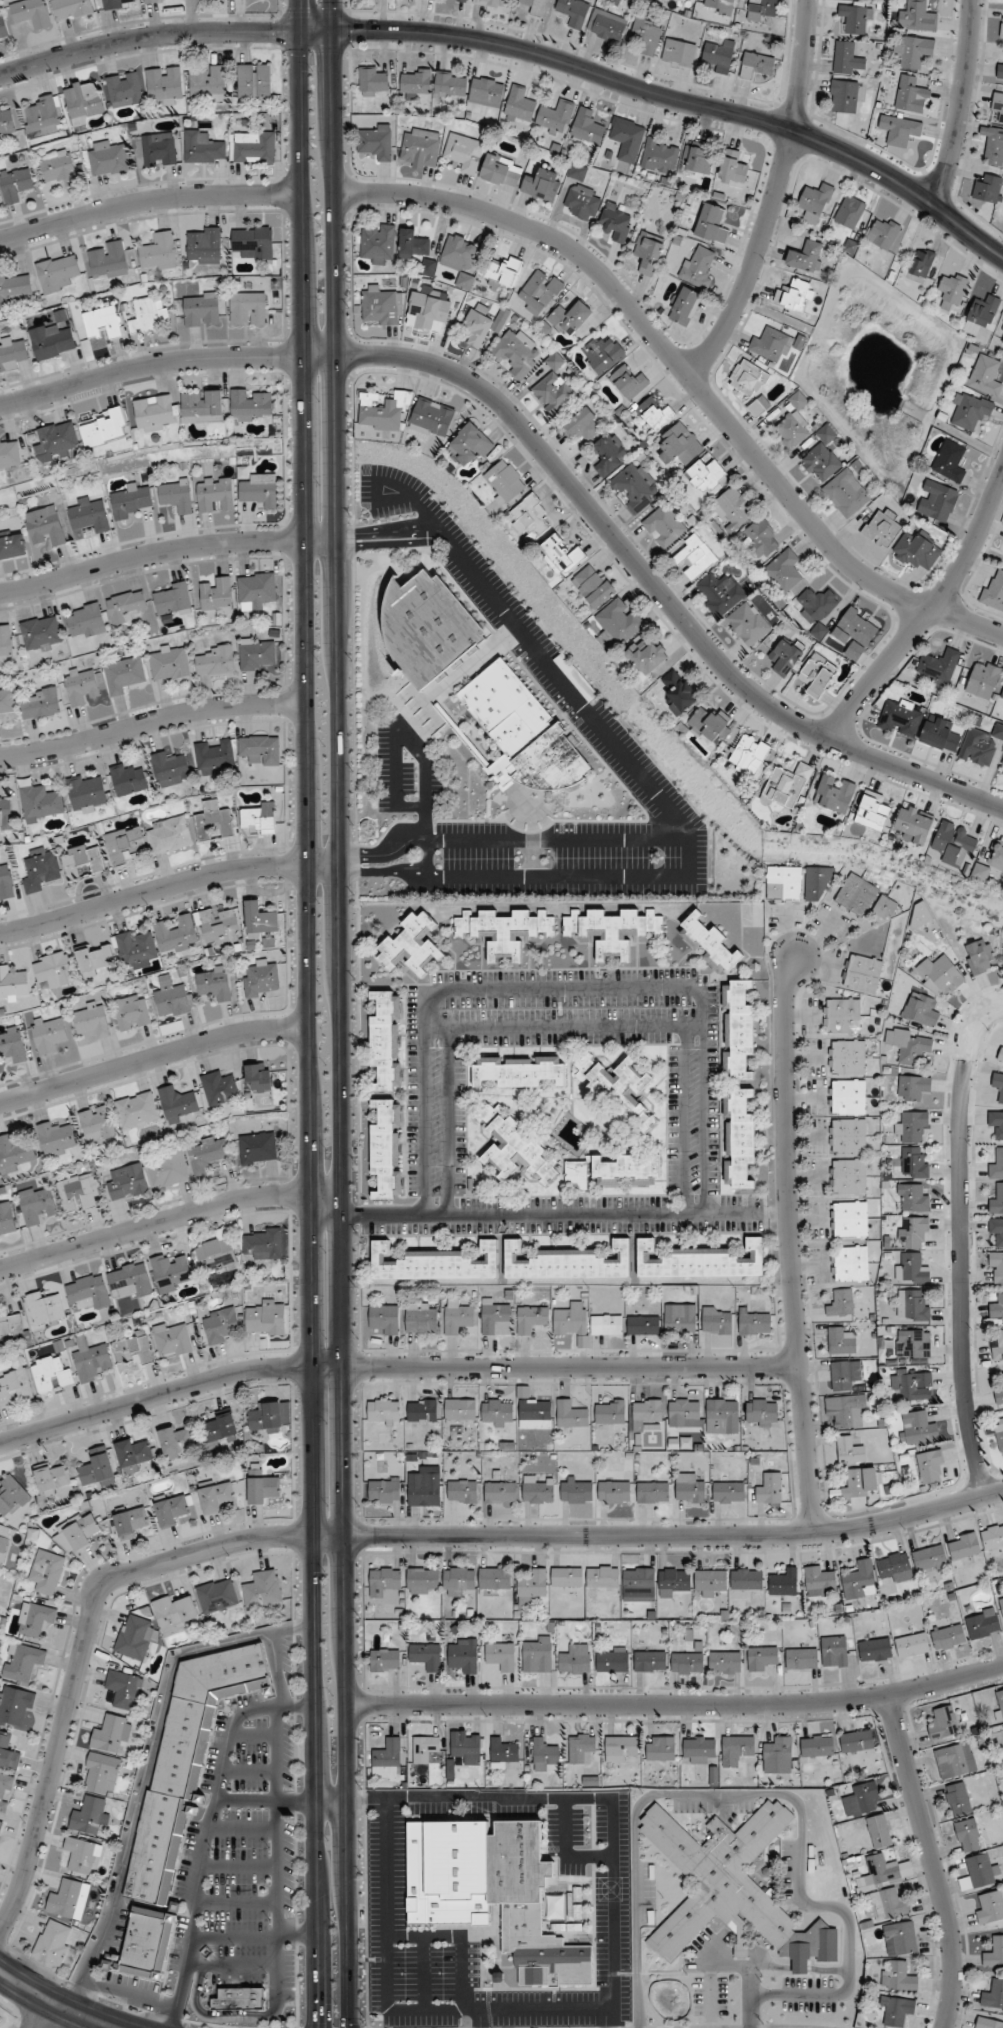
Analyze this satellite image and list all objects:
building: (152, 0)
building: (462, 0)
building: (494, 3)
building: (117, 4)
building: (535, 6)
building: (719, 6)
traffic signals: (298, 7)
building: (71, 8)
building: (761, 9)
building: (573, 12)
building: (31, 13)
road: (332, 14)
road: (298, 15)
building: (919, 15)
building: (856, 18)
building: (1002, 24)
building: (607, 25)
building: (3, 28)
road: (315, 30)
traffic signals: (356, 30)
traffic signals: (273, 31)
building: (646, 35)
road: (146, 37)
building: (679, 51)
building: (914, 51)
building: (719, 54)
traffic signals: (333, 55)
building: (847, 58)
building: (756, 64)
building: (1000, 70)
building: (254, 81)
building: (373, 81)
building: (208, 83)
building: (414, 83)
building: (165, 84)
building: (450, 85)
building: (124, 88)
building: (486, 91)
building: (843, 96)
building: (912, 98)
building: (84, 100)
road: (683, 101)
road: (960, 103)
building: (998, 104)
building: (520, 105)
building: (43, 114)
building: (555, 116)
building: (7, 121)
building: (587, 126)
building: (900, 129)
building: (626, 138)
building: (376, 141)
building: (994, 144)
building: (253, 146)
building: (203, 147)
building: (420, 148)
building: (159, 149)
building: (464, 152)
building: (660, 155)
building: (108, 157)
building: (699, 161)
building: (59, 168)
building: (732, 169)
building: (502, 170)
building: (577, 171)
building: (15, 183)
building: (543, 184)
building: (989, 188)
road: (776, 197)
road: (147, 201)
building: (582, 201)
building: (815, 201)
building: (850, 211)
building: (616, 221)
building: (711, 223)
building: (884, 233)
building: (253, 241)
building: (378, 242)
building: (203, 244)
building: (416, 249)
building: (159, 251)
building: (648, 252)
building: (806, 256)
building: (459, 258)
building: (107, 259)
building: (922, 263)
building: (698, 267)
building: (503, 270)
building: (57, 273)
building: (14, 287)
building: (952, 289)
building: (539, 291)
building: (794, 295)
building: (685, 305)
building: (380, 306)
building: (248, 307)
building: (203, 308)
building: (428, 311)
building: (984, 311)
building: (149, 314)
building: (568, 318)
building: (103, 321)
building: (482, 324)
building: (1001, 335)
building: (51, 341)
building: (775, 343)
building: (11, 353)
building: (516, 353)
building: (602, 353)
building: (985, 374)
road: (687, 375)
building: (748, 378)
building: (629, 381)
building: (553, 386)
building: (202, 405)
building: (250, 405)
building: (758, 406)
building: (970, 410)
building: (382, 411)
building: (654, 412)
building: (154, 413)
building: (432, 417)
building: (793, 421)
building: (584, 423)
building: (106, 428)
building: (56, 441)
building: (470, 444)
building: (680, 444)
building: (9, 453)
building: (609, 453)
road: (547, 456)
building: (822, 456)
building: (950, 461)
building: (705, 473)
building: (504, 481)
building: (635, 487)
building: (260, 489)
building: (846, 492)
building: (214, 493)
building: (175, 494)
building: (131, 500)
building: (937, 500)
building: (732, 507)
building: (90, 515)
building: (530, 517)
building: (45, 525)
building: (664, 525)
building: (882, 527)
building: (761, 537)
road: (440, 539)
building: (12, 544)
building: (917, 550)
road: (166, 551)
building: (561, 554)
building: (693, 556)
building: (784, 570)
building: (594, 585)
building: (258, 590)
building: (994, 590)
building: (720, 592)
building: (216, 594)
building: (172, 598)
building: (126, 606)
building: (817, 608)
road: (925, 614)
building: (620, 620)
building: (86, 621)
building: (422, 622)
building: (748, 623)
building: (41, 632)
building: (855, 632)
building: (6, 644)
building: (257, 653)
building: (648, 655)
building: (787, 655)
building: (217, 661)
building: (169, 662)
building: (940, 664)
building: (123, 674)
building: (817, 675)
building: (983, 679)
building: (82, 685)
building: (678, 690)
building: (1002, 694)
building: (7, 702)
building: (41, 703)
building: (901, 717)
road: (150, 721)
building: (709, 722)
building: (516, 728)
building: (940, 733)
building: (980, 744)
building: (260, 749)
building: (748, 755)
building: (214, 756)
building: (1002, 762)
building: (171, 768)
building: (128, 779)
road: (639, 782)
building: (787, 785)
building: (87, 792)
building: (834, 794)
building: (40, 801)
building: (873, 809)
building: (5, 812)
building: (260, 819)
building: (213, 820)
building: (914, 823)
building: (169, 834)
building: (954, 842)
building: (125, 845)
road: (428, 851)
building: (83, 861)
building: (991, 862)
building: (41, 869)
building: (6, 881)
building: (783, 883)
building: (817, 883)
road: (168, 886)
building: (856, 895)
building: (885, 907)
building: (919, 915)
building: (260, 919)
building: (220, 925)
building: (613, 929)
building: (504, 930)
building: (176, 933)
building: (709, 943)
building: (411, 945)
building: (136, 948)
building: (979, 956)
building: (96, 958)
building: (55, 968)
building: (862, 973)
building: (941, 975)
building: (261, 978)
building: (13, 983)
building: (213, 983)
road: (562, 985)
building: (172, 997)
building: (921, 1009)
building: (132, 1012)
building: (842, 1015)
building: (92, 1021)
road: (561, 1024)
road: (340, 1028)
road: (306, 1029)
building: (738, 1030)
building: (49, 1034)
building: (386, 1040)
building: (12, 1044)
building: (909, 1045)
building: (1001, 1055)
road: (151, 1057)
building: (847, 1057)
building: (519, 1070)
building: (259, 1077)
building: (998, 1085)
building: (913, 1087)
building: (219, 1088)
building: (619, 1090)
building: (847, 1097)
building: (178, 1103)
building: (137, 1109)
road: (681, 1118)
road: (445, 1119)
building: (996, 1122)
building: (97, 1124)
building: (912, 1127)
building: (847, 1136)
building: (56, 1137)
building: (739, 1138)
building: (258, 1147)
building: (514, 1147)
building: (387, 1148)
building: (15, 1153)
building: (207, 1153)
building: (914, 1163)
building: (996, 1165)
building: (168, 1168)
building: (626, 1170)
building: (577, 1174)
building: (848, 1176)
building: (128, 1182)
building: (79, 1192)
building: (913, 1197)
building: (997, 1200)
building: (38, 1205)
road: (561, 1212)
building: (7, 1218)
road: (169, 1218)
building: (849, 1218)
building: (996, 1229)
building: (915, 1232)
road: (784, 1240)
road: (962, 1243)
building: (262, 1245)
building: (217, 1252)
building: (700, 1261)
building: (568, 1262)
building: (435, 1263)
building: (850, 1263)
building: (996, 1267)
building: (911, 1268)
building: (171, 1272)
building: (129, 1280)
building: (88, 1292)
building: (841, 1302)
building: (912, 1305)
building: (997, 1307)
building: (45, 1308)
building: (457, 1316)
building: (266, 1318)
building: (385, 1318)
building: (422, 1318)
building: (495, 1318)
building: (531, 1318)
building: (679, 1318)
building: (571, 1319)
building: (716, 1320)
building: (753, 1323)
building: (219, 1324)
building: (606, 1324)
building: (11, 1325)
building: (643, 1325)
building: (173, 1338)
building: (840, 1340)
building: (913, 1343)
building: (134, 1348)
building: (998, 1348)
building: (90, 1358)
road: (391, 1366)
building: (51, 1374)
building: (844, 1374)
building: (913, 1384)
building: (15, 1386)
building: (999, 1392)
building: (423, 1410)
building: (847, 1410)
building: (384, 1411)
building: (460, 1411)
building: (610, 1411)
building: (647, 1411)
building: (497, 1412)
building: (684, 1412)
building: (761, 1412)
building: (534, 1413)
building: (571, 1415)
building: (270, 1416)
building: (722, 1416)
building: (219, 1428)
building: (917, 1428)
building: (999, 1433)
building: (175, 1440)
building: (850, 1449)
building: (133, 1454)
building: (930, 1466)
building: (98, 1468)
building: (53, 1477)
building: (861, 1482)
building: (262, 1487)
building: (424, 1487)
building: (769, 1488)
building: (690, 1489)
building: (384, 1490)
building: (536, 1490)
building: (576, 1490)
building: (462, 1491)
building: (500, 1492)
building: (614, 1492)
building: (653, 1492)
building: (728, 1492)
building: (215, 1496)
building: (14, 1500)
building: (171, 1510)
building: (130, 1522)
building: (76, 1532)
road: (370, 1535)
building: (992, 1537)
building: (4, 1541)
building: (964, 1546)
building: (930, 1557)
building: (895, 1566)
building: (47, 1571)
building: (567, 1576)
building: (602, 1576)
building: (495, 1578)
building: (746, 1578)
building: (674, 1579)
building: (422, 1580)
building: (458, 1580)
building: (860, 1580)
building: (819, 1581)
building: (709, 1582)
building: (783, 1582)
building: (638, 1584)
building: (385, 1585)
building: (533, 1585)
building: (264, 1590)
building: (217, 1595)
building: (1001, 1603)
building: (174, 1614)
building: (36, 1619)
building: (983, 1624)
building: (135, 1636)
building: (948, 1637)
building: (912, 1645)
building: (875, 1650)
building: (834, 1651)
building: (426, 1655)
building: (463, 1655)
building: (538, 1655)
building: (501, 1656)
building: (761, 1658)
building: (801, 1658)
building: (385, 1659)
building: (612, 1659)
building: (575, 1660)
building: (22, 1661)
building: (650, 1661)
building: (724, 1662)
building: (687, 1663)
road: (274, 1672)
building: (123, 1689)
building: (1000, 1702)
road: (677, 1704)
building: (14, 1706)
building: (943, 1723)
building: (111, 1734)
road: (252, 1737)
building: (857, 1741)
building: (467, 1746)
building: (817, 1746)
building: (581, 1747)
building: (621, 1748)
building: (660, 1748)
building: (698, 1748)
building: (737, 1749)
building: (778, 1749)
building: (425, 1750)
building: (8, 1752)
building: (503, 1754)
building: (544, 1755)
building: (387, 1760)
building: (955, 1760)
building: (186, 1762)
road: (248, 1771)
building: (101, 1773)
building: (5, 1793)
road: (777, 1794)
road: (139, 1797)
road: (245, 1799)
building: (861, 1799)
building: (958, 1799)
road: (295, 1803)
road: (331, 1803)
road: (367, 1803)
building: (90, 1815)
building: (0, 1824)
road: (242, 1828)
road: (208, 1831)
building: (879, 1831)
building: (968, 1835)
road: (564, 1851)
building: (83, 1855)
road: (275, 1855)
road: (933, 1859)
road: (238, 1866)
building: (879, 1872)
building: (979, 1872)
building: (732, 1889)
building: (493, 1893)
building: (578, 1894)
building: (69, 1899)
road: (234, 1903)
building: (888, 1904)
building: (990, 1906)
building: (578, 1911)
building: (558, 1926)
building: (575, 1927)
road: (461, 1934)
road: (232, 1938)
road: (295, 1938)
building: (901, 1938)
building: (53, 1942)
building: (148, 1943)
building: (995, 1953)
road: (230, 1966)
road: (422, 1971)
building: (899, 1976)
building: (993, 1994)
road: (80, 1996)
building: (239, 1999)
road: (54, 2001)
road: (387, 2008)
building: (897, 2010)
road: (42, 2014)
road: (217, 2015)
building: (0, 2018)
road: (479, 2018)
road: (610, 2018)
traffic signals: (315, 2022)
building: (989, 2023)

